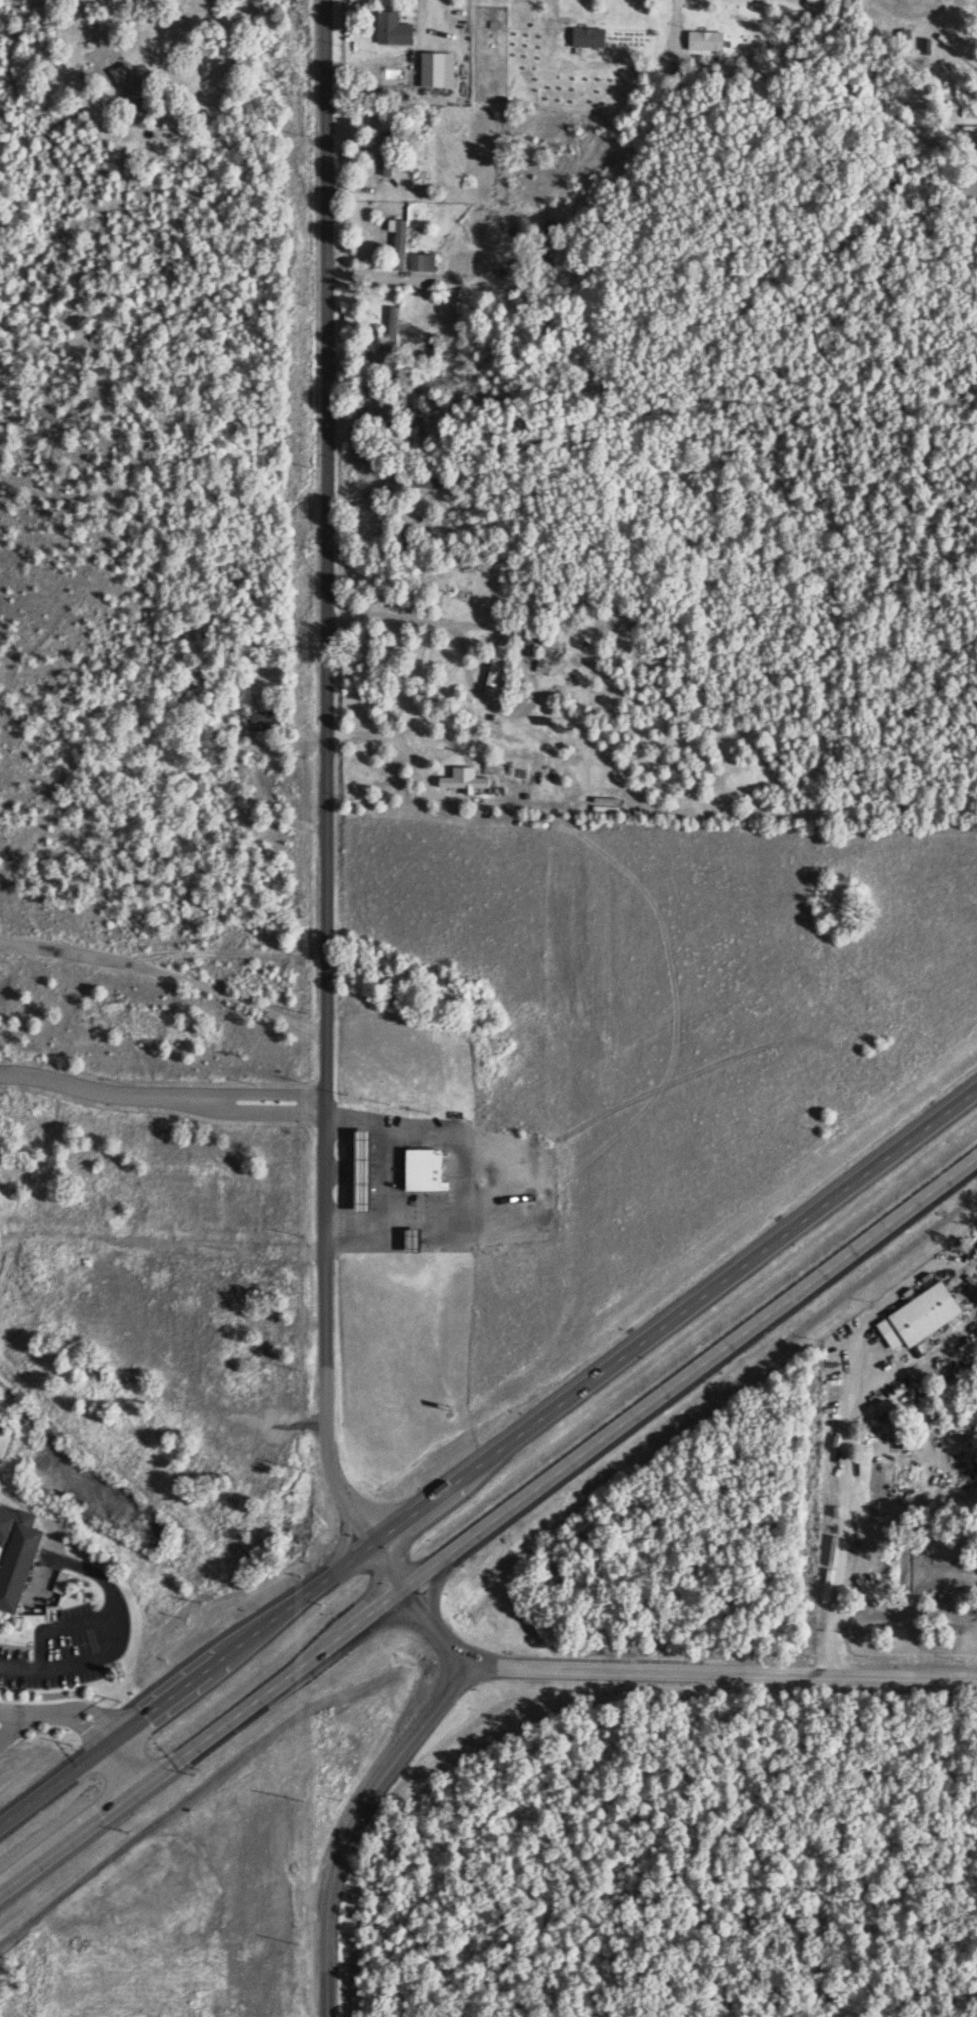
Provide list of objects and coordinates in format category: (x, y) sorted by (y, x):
road: (911, 10)
road: (561, 18)
road: (112, 20)
road: (435, 22)
building: (397, 29)
road: (684, 30)
building: (917, 33)
building: (596, 36)
building: (713, 40)
building: (960, 40)
building: (934, 46)
building: (434, 67)
building: (138, 91)
building: (385, 151)
building: (396, 241)
building: (419, 260)
building: (392, 326)
building: (416, 410)
road: (423, 628)
building: (491, 668)
road: (332, 744)
building: (462, 778)
road: (166, 971)
road: (161, 1095)
road: (881, 1158)
building: (429, 1167)
road: (830, 1268)
building: (915, 1315)
road: (285, 1364)
road: (556, 1399)
road: (505, 1513)
road: (835, 1521)
building: (22, 1555)
road: (392, 1591)
road: (61, 1627)
road: (115, 1640)
road: (715, 1676)
road: (165, 1702)
road: (84, 1721)
road: (10, 1722)
road: (164, 1772)
road: (375, 1784)
road: (328, 1958)

